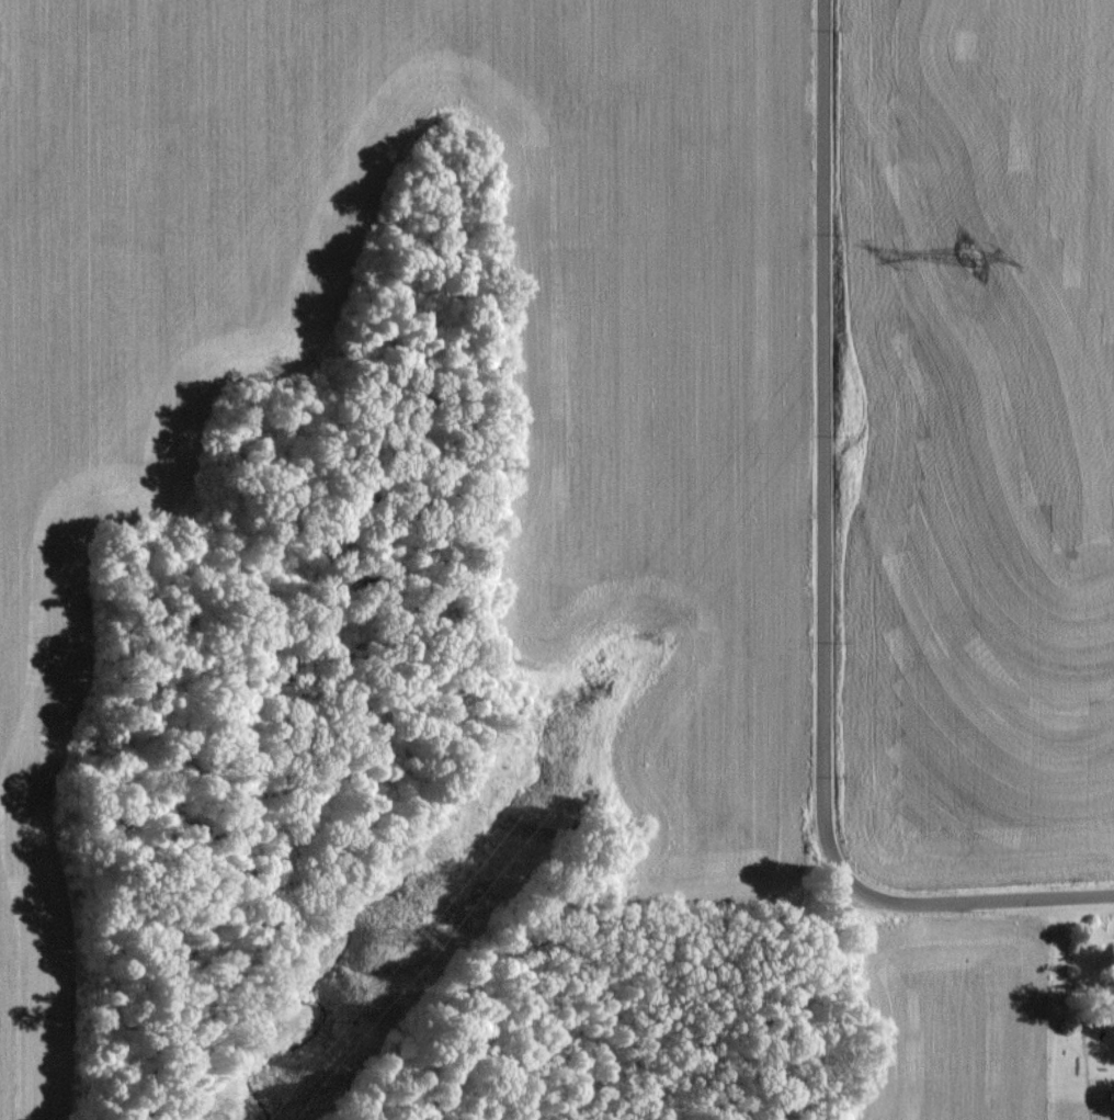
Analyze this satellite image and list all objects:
power tower: (970, 256)
road: (827, 580)
power tower: (398, 938)

